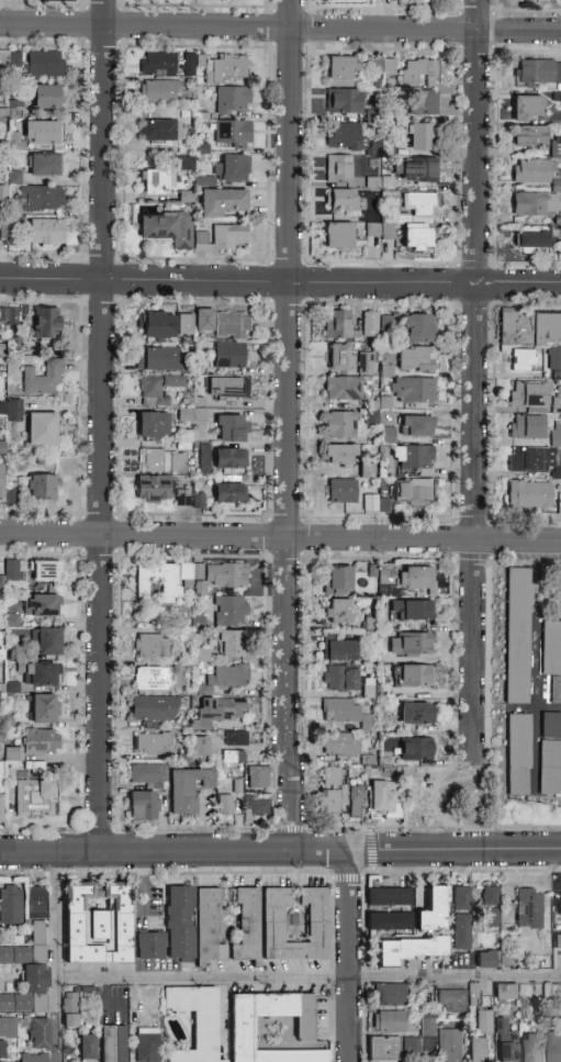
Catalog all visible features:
road: (280, 27)
building: (13, 60)
building: (188, 63)
building: (45, 64)
building: (160, 64)
building: (382, 66)
building: (227, 68)
building: (344, 71)
building: (418, 71)
building: (538, 72)
building: (158, 91)
building: (47, 97)
building: (233, 100)
building: (345, 101)
building: (424, 102)
building: (504, 108)
building: (527, 109)
building: (161, 131)
building: (42, 132)
building: (233, 133)
building: (530, 136)
building: (347, 137)
building: (419, 137)
building: (556, 147)
building: (186, 163)
building: (46, 165)
building: (232, 168)
building: (339, 169)
building: (416, 169)
building: (532, 171)
building: (158, 182)
building: (41, 199)
building: (341, 200)
building: (223, 202)
building: (422, 203)
building: (536, 203)
building: (168, 228)
building: (371, 228)
building: (46, 232)
building: (339, 236)
building: (418, 236)
building: (224, 238)
building: (535, 242)
road: (280, 281)
building: (9, 316)
building: (205, 321)
building: (384, 322)
building: (47, 323)
building: (159, 324)
building: (184, 324)
building: (337, 324)
building: (370, 324)
building: (232, 326)
building: (417, 328)
building: (530, 328)
building: (228, 356)
building: (341, 357)
building: (157, 359)
building: (417, 359)
building: (556, 359)
building: (367, 360)
building: (524, 360)
road: (474, 377)
building: (43, 378)
building: (157, 387)
building: (227, 389)
building: (344, 389)
building: (409, 391)
building: (529, 395)
building: (556, 404)
building: (14, 410)
road: (100, 425)
building: (154, 425)
building: (341, 425)
road: (285, 426)
building: (417, 426)
building: (527, 426)
building: (44, 428)
building: (231, 428)
building: (556, 432)
building: (388, 435)
building: (1, 447)
building: (340, 455)
building: (413, 457)
building: (205, 458)
building: (229, 459)
building: (532, 460)
building: (162, 461)
building: (366, 469)
building: (2, 480)
building: (42, 488)
building: (154, 490)
building: (343, 491)
building: (413, 492)
building: (231, 493)
building: (529, 495)
building: (197, 498)
building: (183, 500)
building: (377, 503)
road: (280, 537)
road: (473, 557)
building: (15, 570)
building: (46, 571)
building: (184, 573)
building: (226, 575)
building: (405, 577)
building: (198, 578)
building: (159, 580)
building: (339, 580)
building: (559, 589)
building: (42, 605)
building: (229, 611)
building: (413, 611)
building: (340, 612)
building: (10, 618)
road: (487, 626)
building: (517, 636)
road: (304, 638)
building: (48, 641)
building: (229, 644)
building: (411, 644)
building: (2, 646)
building: (152, 647)
building: (340, 650)
building: (551, 659)
building: (42, 674)
building: (229, 675)
building: (413, 675)
building: (152, 679)
building: (341, 679)
building: (8, 686)
building: (154, 708)
building: (45, 709)
building: (222, 709)
building: (341, 711)
building: (416, 714)
building: (236, 739)
building: (42, 742)
building: (153, 744)
building: (341, 744)
building: (201, 747)
building: (416, 749)
building: (550, 753)
building: (12, 754)
building: (518, 754)
building: (234, 757)
building: (1, 771)
building: (147, 774)
building: (258, 776)
building: (330, 776)
road: (462, 779)
building: (236, 785)
building: (188, 789)
building: (341, 794)
park: (445, 796)
building: (381, 797)
building: (36, 798)
road: (433, 798)
building: (328, 802)
building: (355, 802)
building: (142, 805)
building: (225, 805)
building: (0, 808)
building: (257, 809)
road: (291, 829)
road: (371, 850)
road: (280, 852)
road: (368, 872)
road: (347, 879)
building: (389, 897)
building: (11, 905)
building: (490, 907)
building: (560, 908)
building: (558, 909)
building: (434, 910)
building: (528, 912)
building: (461, 918)
building: (390, 921)
building: (180, 923)
building: (98, 924)
building: (317, 925)
building: (247, 926)
building: (207, 928)
building: (150, 947)
building: (408, 950)
road: (349, 955)
road: (55, 957)
building: (30, 959)
building: (487, 959)
road: (307, 976)
building: (473, 991)
building: (505, 992)
building: (389, 995)
building: (452, 1002)
building: (553, 1009)
building: (69, 1010)
building: (195, 1021)
building: (389, 1021)
building: (484, 1021)
building: (8, 1028)
building: (242, 1029)
building: (40, 1033)
building: (423, 1039)
building: (506, 1042)
building: (113, 1043)
building: (147, 1046)
building: (449, 1046)
building: (556, 1047)
building: (87, 1048)
building: (529, 1048)
building: (2, 1049)
building: (384, 1050)
building: (479, 1050)
building: (34, 1059)
building: (1, 1061)

